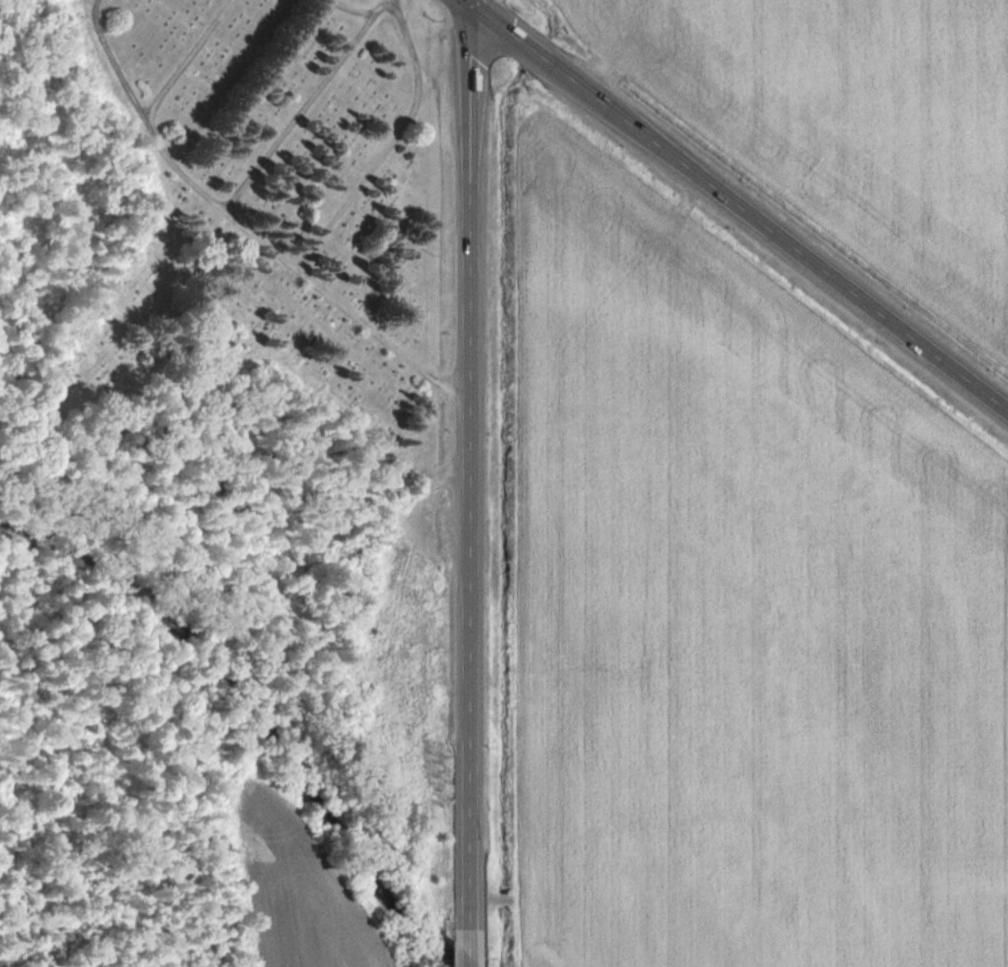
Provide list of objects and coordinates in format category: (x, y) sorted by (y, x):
road: (470, 3)
road: (734, 206)
road: (268, 222)
park: (252, 296)
road: (469, 487)

